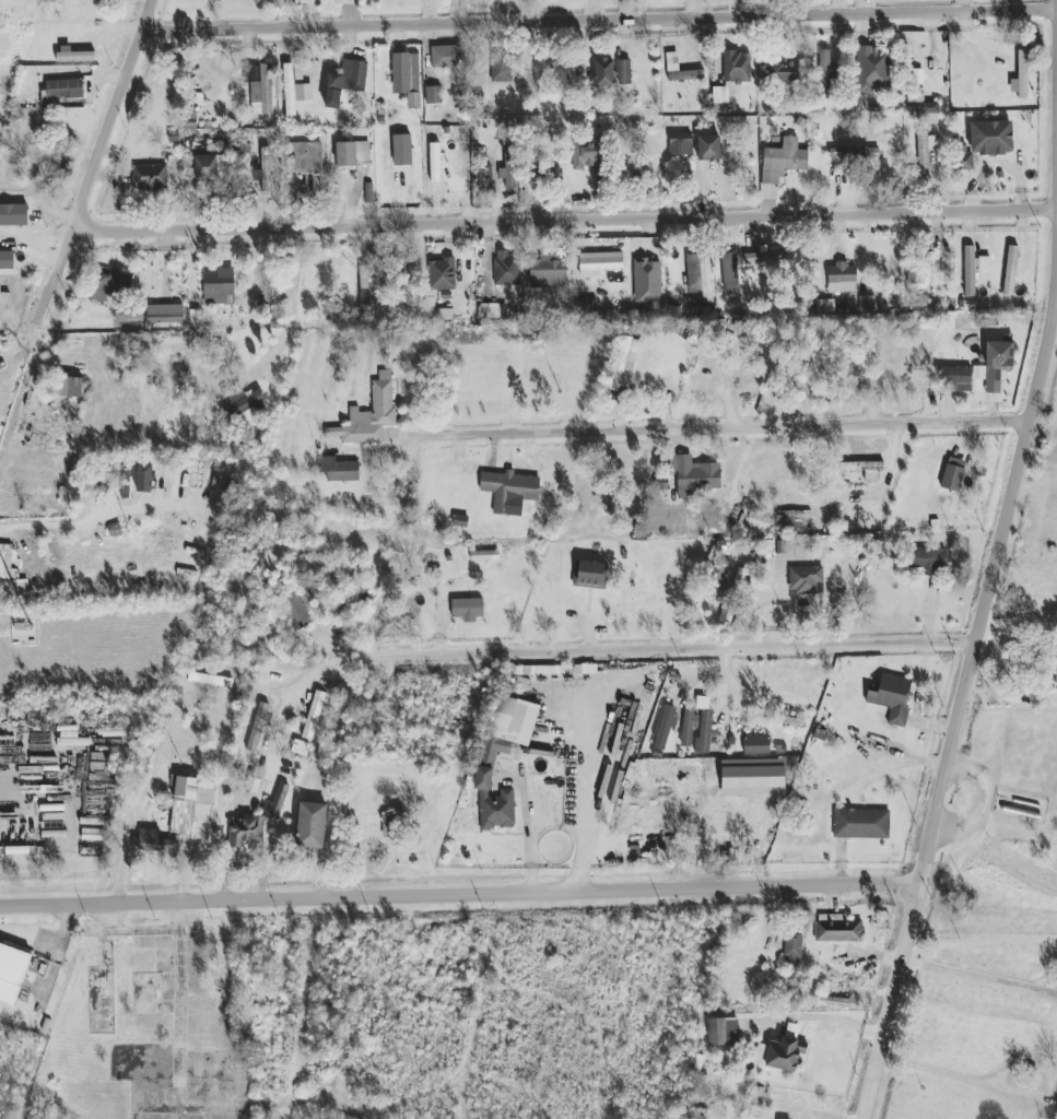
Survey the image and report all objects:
road: (600, 21)
building: (74, 55)
building: (444, 56)
building: (502, 67)
building: (737, 67)
building: (826, 69)
building: (873, 69)
building: (777, 71)
building: (604, 72)
building: (623, 72)
building: (683, 74)
building: (350, 76)
building: (407, 76)
building: (1021, 76)
building: (295, 87)
building: (63, 90)
building: (261, 90)
building: (433, 95)
building: (719, 101)
building: (923, 108)
building: (991, 138)
building: (681, 144)
building: (708, 148)
building: (402, 150)
building: (925, 151)
building: (854, 153)
building: (353, 154)
building: (587, 156)
building: (305, 157)
building: (964, 160)
building: (783, 161)
road: (98, 163)
building: (435, 163)
building: (508, 166)
building: (209, 167)
building: (263, 169)
building: (150, 176)
building: (483, 177)
building: (533, 181)
building: (13, 214)
road: (566, 221)
building: (768, 256)
building: (7, 260)
building: (599, 263)
building: (507, 268)
building: (1010, 270)
building: (549, 271)
building: (970, 271)
building: (407, 273)
building: (730, 273)
building: (442, 274)
building: (698, 275)
building: (842, 278)
building: (647, 281)
building: (111, 285)
building: (219, 286)
building: (364, 288)
building: (4, 301)
building: (488, 313)
building: (164, 314)
building: (625, 360)
building: (994, 365)
building: (955, 378)
building: (70, 387)
building: (247, 401)
building: (369, 414)
road: (727, 427)
building: (864, 469)
building: (339, 470)
building: (953, 474)
building: (693, 475)
building: (144, 479)
building: (509, 491)
building: (795, 521)
road: (37, 525)
building: (484, 555)
building: (930, 561)
building: (590, 575)
building: (11, 577)
building: (806, 580)
building: (359, 582)
road: (989, 584)
building: (300, 608)
building: (468, 609)
road: (649, 647)
building: (1056, 679)
building: (210, 680)
building: (892, 698)
road: (282, 715)
building: (314, 715)
building: (790, 720)
building: (509, 726)
building: (689, 726)
building: (257, 727)
building: (663, 727)
building: (704, 731)
building: (756, 744)
building: (300, 749)
building: (657, 773)
road: (8, 776)
road: (584, 790)
building: (494, 802)
building: (275, 804)
building: (191, 808)
building: (861, 824)
building: (312, 825)
building: (246, 833)
road: (530, 833)
building: (154, 841)
road: (461, 895)
building: (837, 929)
building: (792, 950)
building: (12, 973)
road: (983, 978)
road: (179, 992)
road: (897, 1001)
building: (836, 1002)
road: (841, 1020)
building: (723, 1032)
building: (780, 1053)
road: (970, 1077)
building: (760, 1097)

